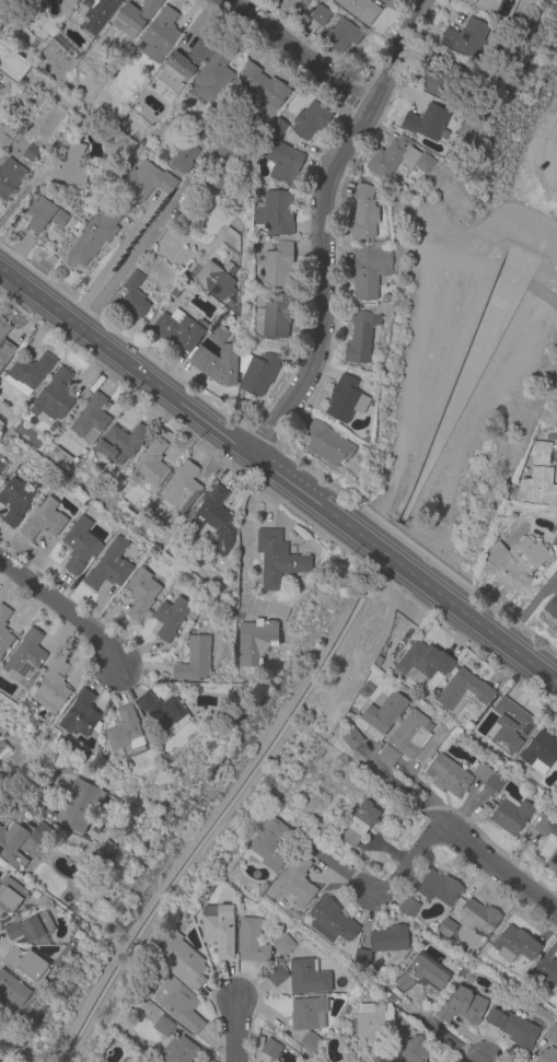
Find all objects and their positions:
building: (289, 4)
building: (489, 4)
building: (67, 7)
building: (360, 9)
building: (98, 13)
building: (321, 16)
building: (135, 17)
building: (160, 36)
building: (341, 36)
building: (466, 38)
building: (183, 40)
road: (303, 49)
building: (187, 60)
building: (12, 66)
building: (213, 78)
building: (446, 82)
building: (263, 86)
building: (182, 117)
building: (310, 120)
building: (428, 124)
building: (277, 126)
building: (5, 138)
building: (33, 154)
building: (184, 157)
building: (398, 159)
building: (282, 161)
building: (70, 164)
building: (227, 164)
building: (9, 179)
building: (147, 182)
building: (393, 190)
building: (258, 205)
building: (276, 214)
building: (363, 214)
building: (44, 215)
road: (328, 227)
building: (95, 235)
building: (233, 238)
dam: (478, 257)
road: (131, 258)
building: (276, 265)
building: (369, 270)
dam: (532, 276)
building: (216, 280)
road: (543, 294)
building: (134, 296)
building: (276, 316)
building: (179, 331)
building: (217, 331)
building: (361, 338)
building: (1, 342)
building: (217, 364)
building: (28, 372)
building: (258, 373)
building: (58, 393)
building: (346, 399)
building: (91, 420)
building: (121, 443)
building: (327, 443)
building: (542, 453)
building: (62, 456)
building: (1, 466)
building: (152, 466)
road: (278, 475)
building: (538, 487)
building: (184, 489)
building: (14, 502)
building: (214, 520)
building: (44, 521)
building: (287, 529)
road: (242, 532)
building: (80, 545)
building: (499, 552)
building: (529, 556)
building: (278, 560)
building: (106, 572)
building: (141, 594)
road: (529, 606)
building: (553, 608)
road: (63, 612)
building: (274, 616)
building: (174, 617)
building: (556, 627)
building: (4, 631)
building: (256, 642)
building: (195, 660)
building: (25, 661)
building: (379, 661)
building: (423, 663)
building: (54, 688)
building: (464, 692)
building: (164, 713)
building: (386, 713)
building: (80, 714)
building: (49, 720)
building: (510, 726)
building: (126, 732)
building: (410, 736)
building: (353, 739)
building: (2, 747)
building: (541, 752)
building: (388, 757)
building: (481, 773)
building: (448, 775)
building: (495, 783)
road: (405, 790)
road: (22, 797)
building: (79, 805)
building: (511, 816)
building: (360, 825)
building: (546, 827)
building: (39, 836)
building: (11, 840)
building: (271, 844)
road: (407, 860)
building: (553, 862)
road: (337, 870)
road: (502, 870)
building: (297, 882)
building: (439, 888)
building: (11, 896)
building: (409, 908)
building: (478, 918)
building: (330, 921)
building: (30, 927)
building: (446, 929)
building: (220, 930)
building: (388, 940)
building: (252, 942)
building: (283, 945)
building: (515, 945)
building: (362, 958)
building: (182, 962)
building: (26, 964)
building: (276, 975)
building: (421, 976)
building: (307, 977)
building: (543, 978)
building: (13, 989)
building: (178, 1003)
building: (462, 1006)
building: (307, 1014)
building: (371, 1023)
building: (163, 1026)
building: (514, 1028)
road: (234, 1030)
road: (436, 1030)
building: (552, 1034)
building: (311, 1042)
building: (271, 1049)
building: (409, 1049)
building: (179, 1051)
building: (547, 1055)
building: (15, 1060)

